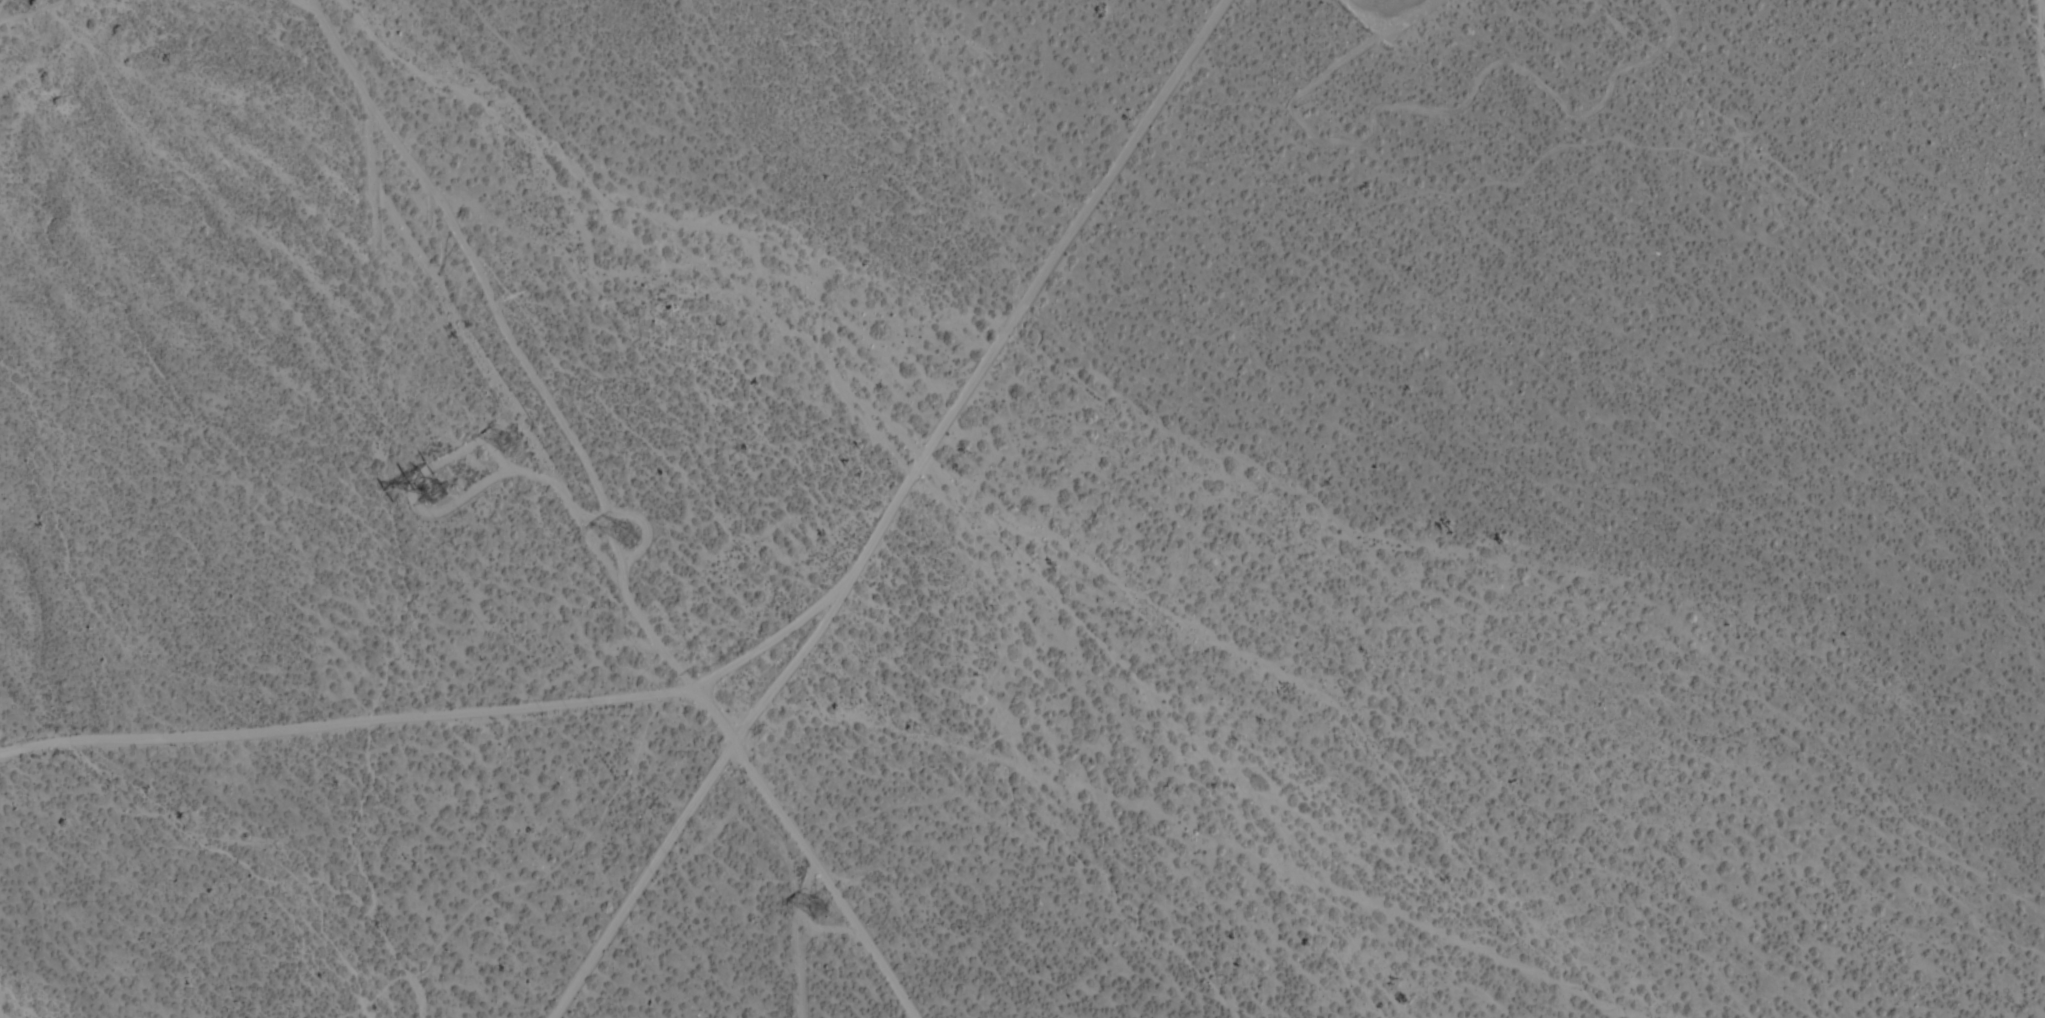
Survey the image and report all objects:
road: (1030, 297)
power tower: (512, 444)
power tower: (443, 491)
power tower: (632, 532)
road: (435, 727)
road: (773, 800)
road: (696, 807)
power tower: (825, 912)
road: (796, 934)
road: (865, 934)

